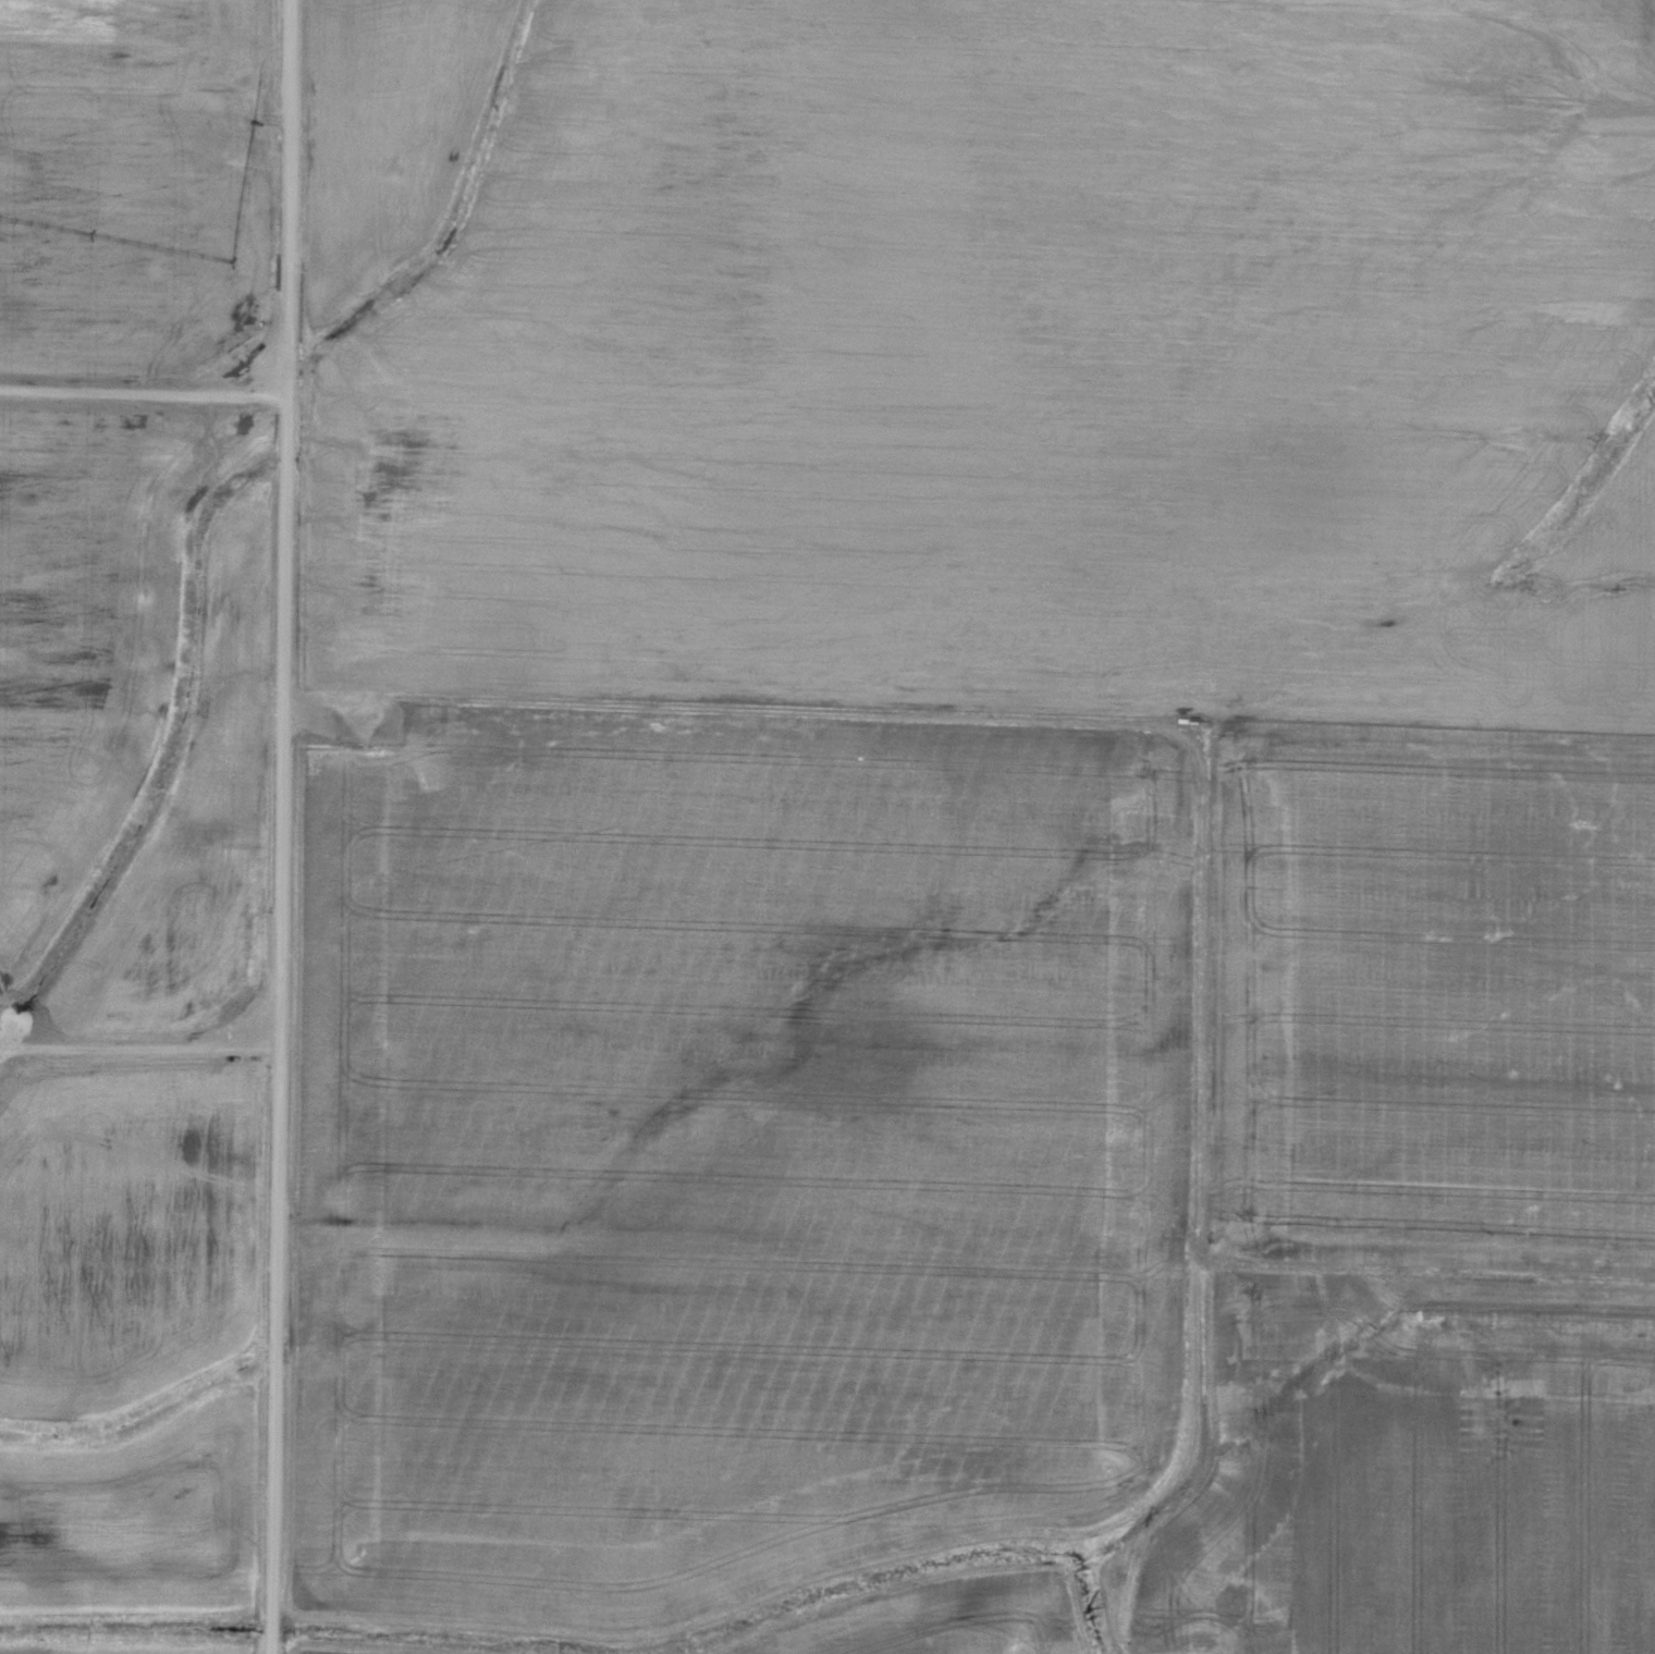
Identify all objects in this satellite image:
road: (284, 826)

